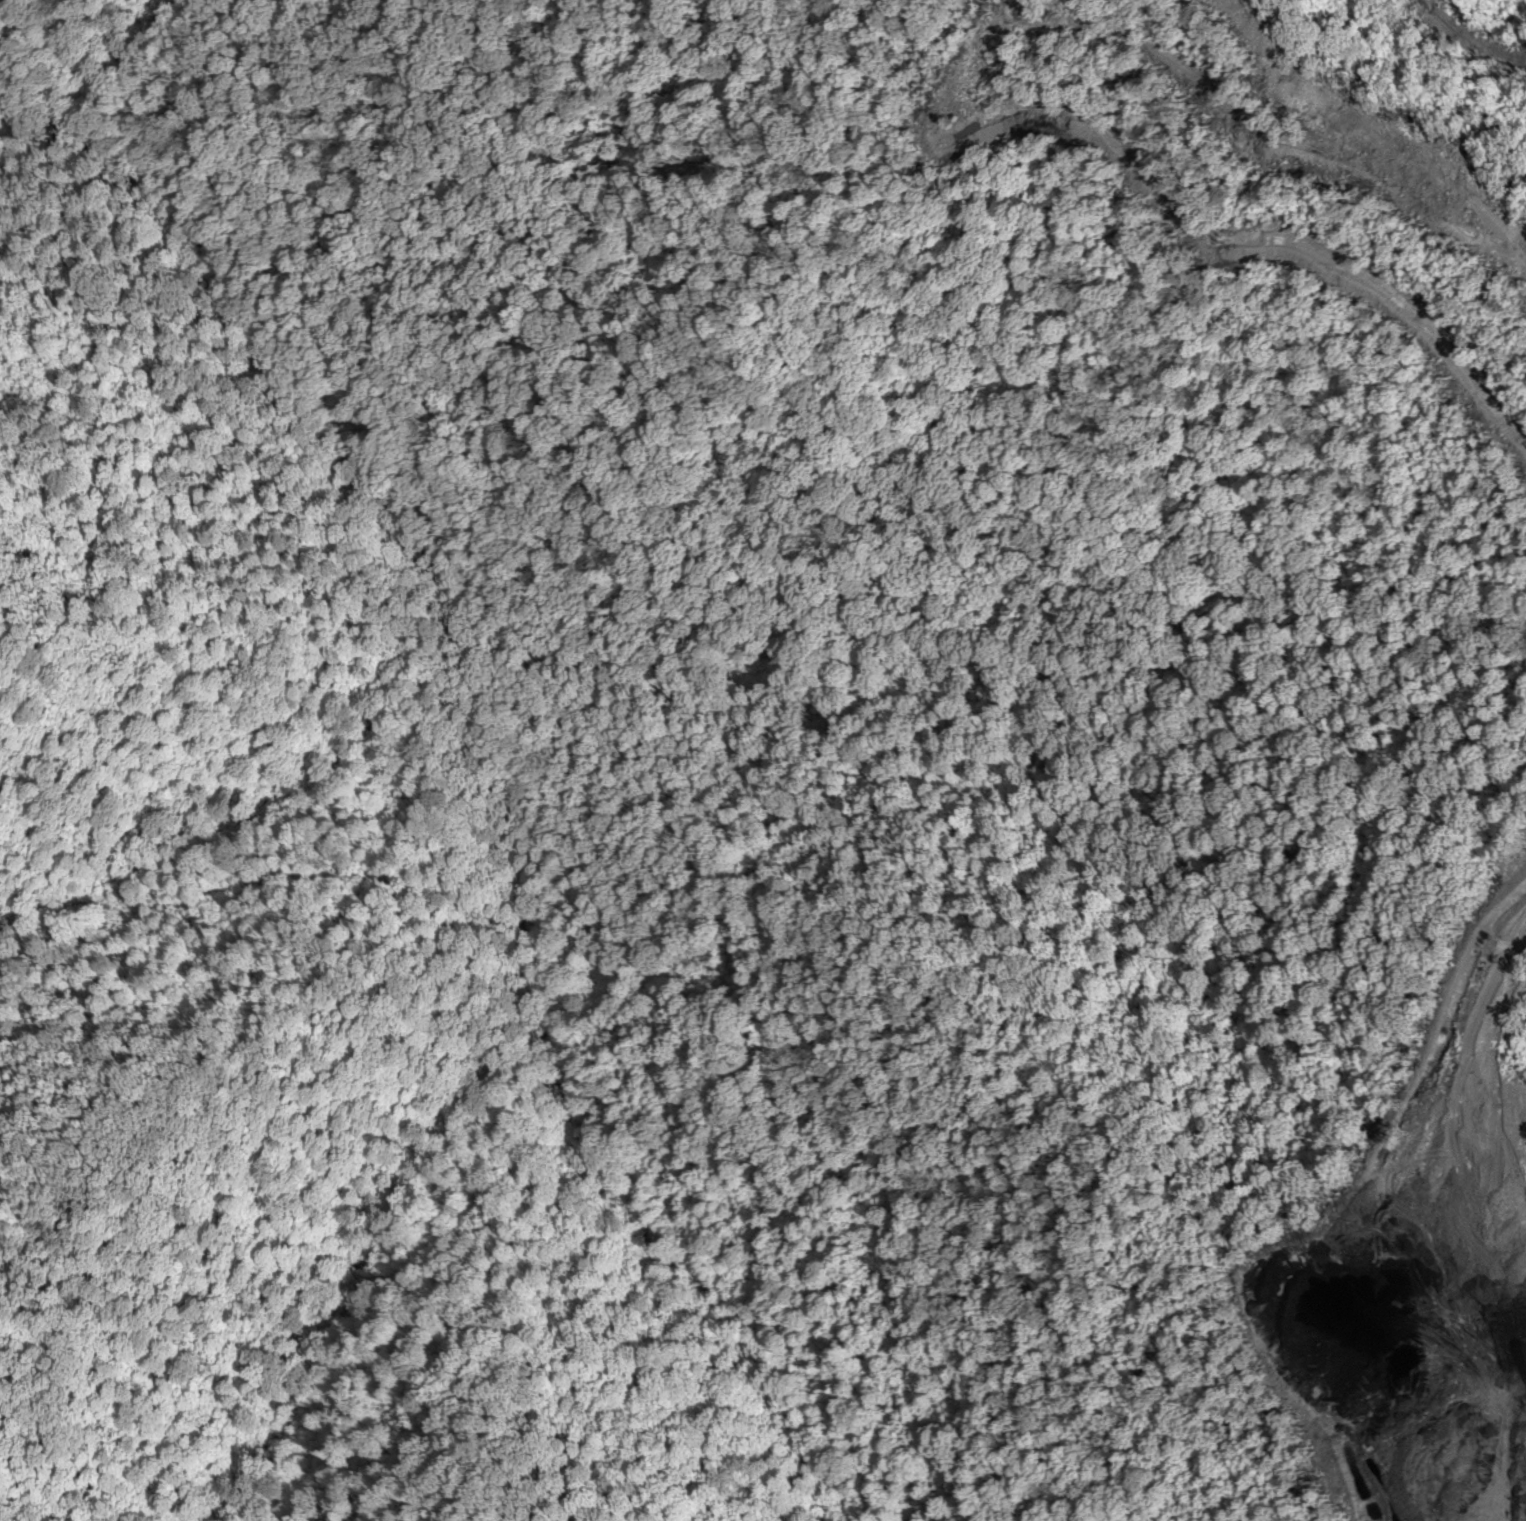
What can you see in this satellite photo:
quarry: (1411, 1222)

